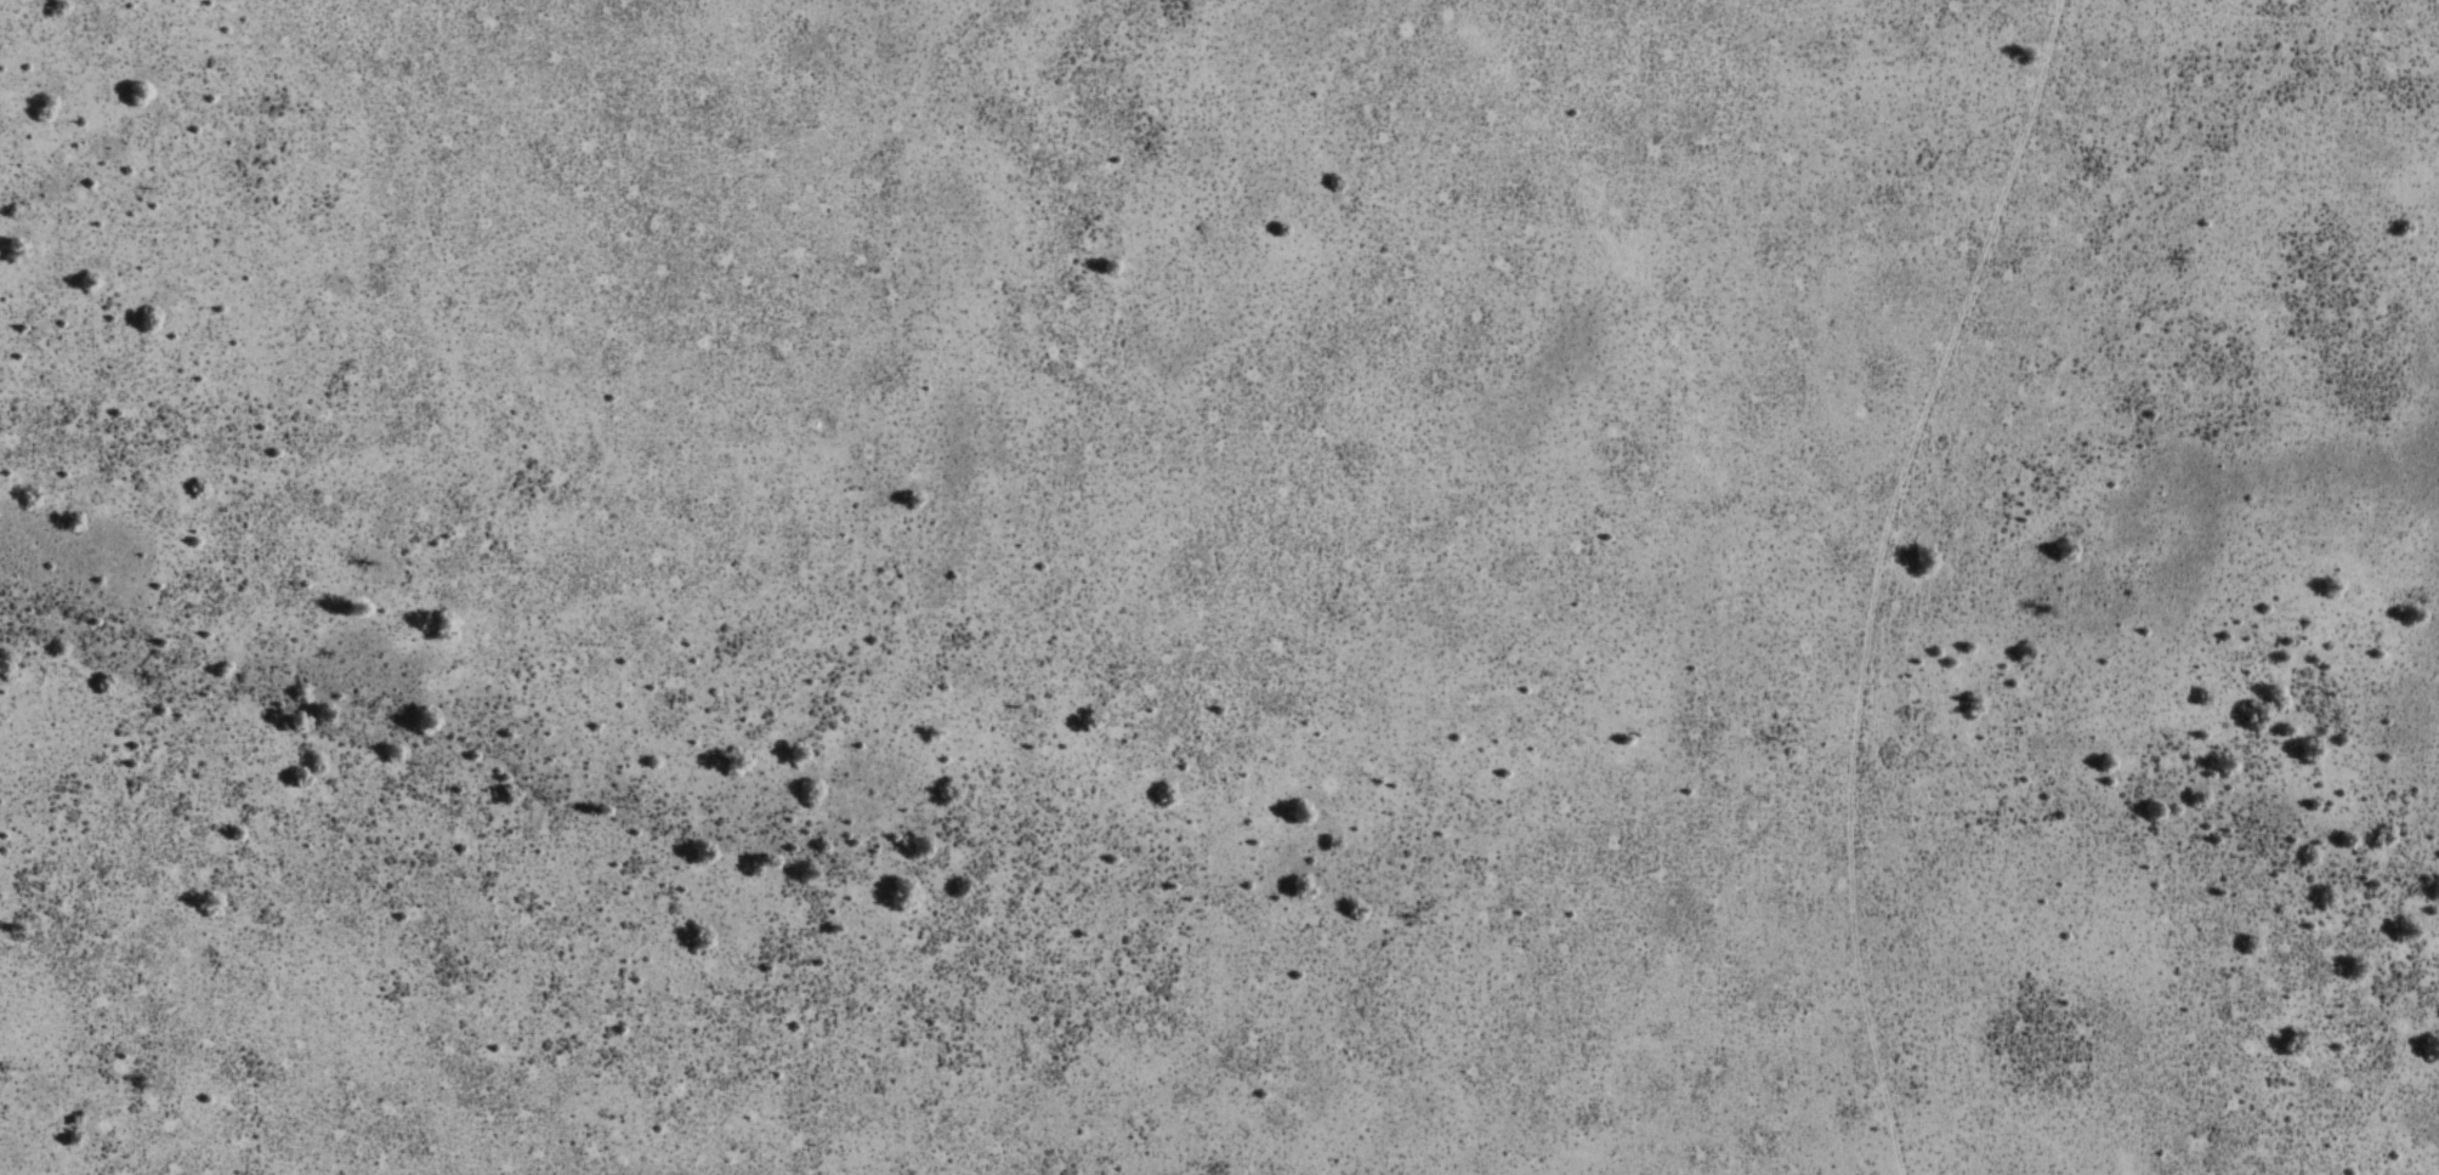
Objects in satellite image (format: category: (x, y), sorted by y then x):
road: (1877, 575)

